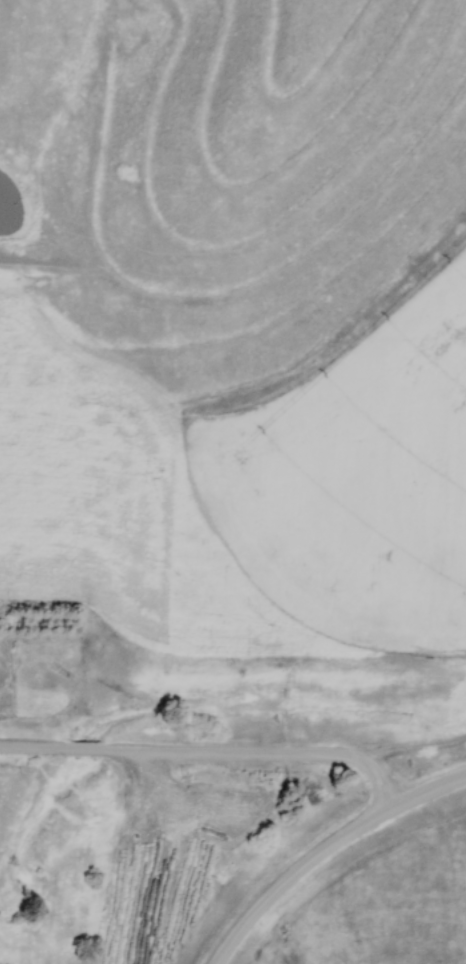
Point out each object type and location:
road: (211, 751)
road: (323, 846)

